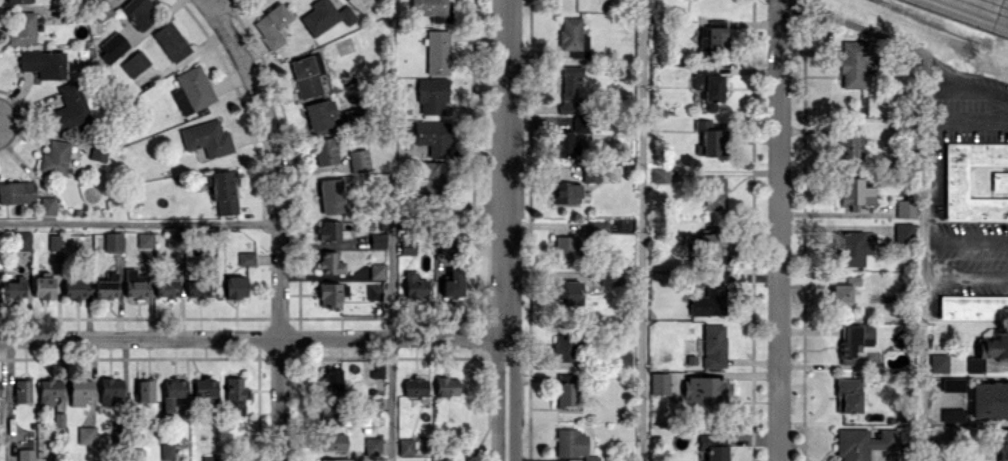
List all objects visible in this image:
building: (18, 1)
road: (988, 2)
building: (359, 3)
road: (217, 4)
road: (1001, 7)
building: (103, 9)
building: (432, 9)
building: (137, 12)
building: (325, 16)
building: (272, 25)
road: (853, 25)
building: (24, 28)
building: (572, 37)
building: (702, 37)
building: (716, 37)
building: (171, 41)
building: (113, 47)
building: (437, 51)
building: (854, 62)
building: (44, 63)
building: (134, 63)
building: (306, 76)
road: (961, 80)
building: (568, 86)
building: (192, 90)
building: (431, 95)
building: (69, 107)
building: (320, 113)
building: (352, 114)
road: (964, 123)
building: (570, 134)
building: (433, 136)
building: (207, 138)
building: (710, 138)
building: (851, 143)
building: (326, 150)
building: (98, 152)
building: (55, 157)
road: (274, 160)
building: (358, 160)
road: (506, 168)
building: (592, 174)
building: (660, 175)
building: (434, 178)
building: (956, 181)
building: (999, 181)
building: (223, 190)
building: (855, 191)
building: (17, 192)
building: (567, 192)
building: (715, 193)
building: (331, 195)
building: (48, 205)
building: (905, 208)
road: (139, 223)
road: (832, 227)
building: (329, 229)
building: (598, 229)
road: (642, 230)
road: (780, 230)
building: (904, 231)
building: (21, 239)
building: (173, 239)
building: (145, 240)
building: (378, 240)
building: (113, 241)
building: (54, 242)
road: (964, 242)
building: (408, 247)
building: (854, 248)
building: (567, 249)
road: (921, 256)
building: (246, 258)
building: (330, 263)
building: (377, 270)
road: (964, 277)
building: (607, 278)
road: (390, 282)
building: (135, 283)
building: (453, 283)
building: (414, 285)
building: (106, 286)
building: (236, 286)
building: (43, 287)
building: (166, 287)
building: (14, 288)
building: (74, 288)
building: (197, 288)
building: (843, 288)
building: (374, 291)
building: (567, 292)
building: (331, 294)
building: (710, 300)
building: (973, 306)
road: (252, 337)
building: (854, 340)
building: (714, 345)
building: (566, 347)
road: (501, 348)
road: (509, 348)
building: (989, 349)
building: (620, 359)
building: (940, 362)
building: (330, 379)
building: (659, 383)
building: (952, 384)
building: (415, 386)
building: (446, 386)
building: (0, 387)
building: (206, 388)
building: (706, 388)
building: (110, 389)
building: (145, 389)
building: (22, 390)
building: (49, 390)
building: (79, 390)
building: (172, 392)
building: (566, 393)
building: (235, 394)
building: (848, 395)
road: (278, 399)
road: (390, 399)
building: (989, 399)
road: (495, 410)
road: (511, 410)
building: (952, 414)
building: (58, 418)
building: (86, 434)
building: (334, 441)
building: (863, 442)
building: (572, 444)
building: (373, 445)
building: (1002, 445)
building: (406, 446)
building: (713, 446)
building: (167, 450)
building: (25, 454)
building: (136, 454)
building: (943, 457)
building: (209, 458)
building: (247, 458)
building: (336, 459)
building: (441, 459)

